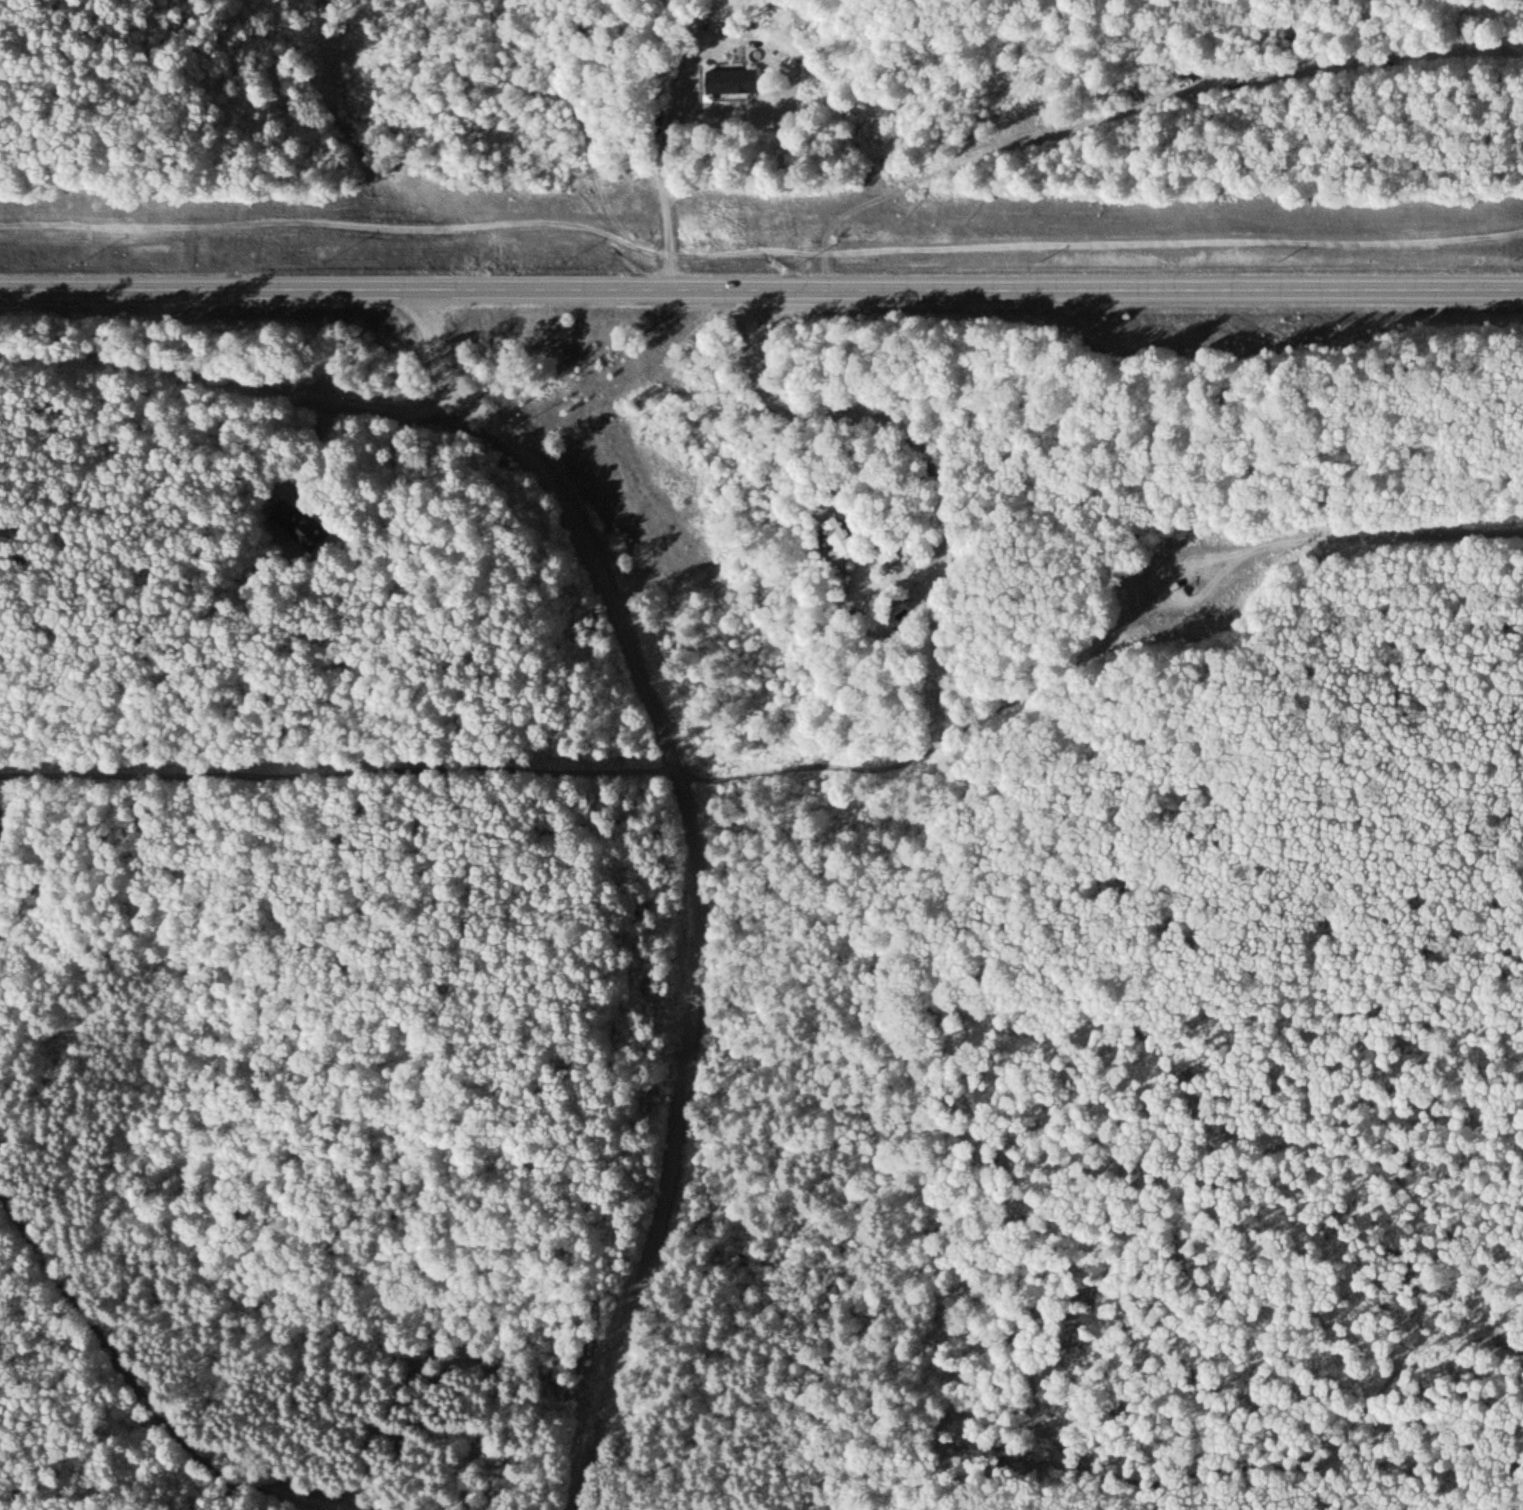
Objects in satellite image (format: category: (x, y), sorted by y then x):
building: (729, 82)
road: (760, 251)
road: (761, 294)
building: (850, 535)
road: (1375, 536)
petroleum well: (1181, 589)
road: (1150, 599)
road: (697, 871)
road: (129, 1376)

